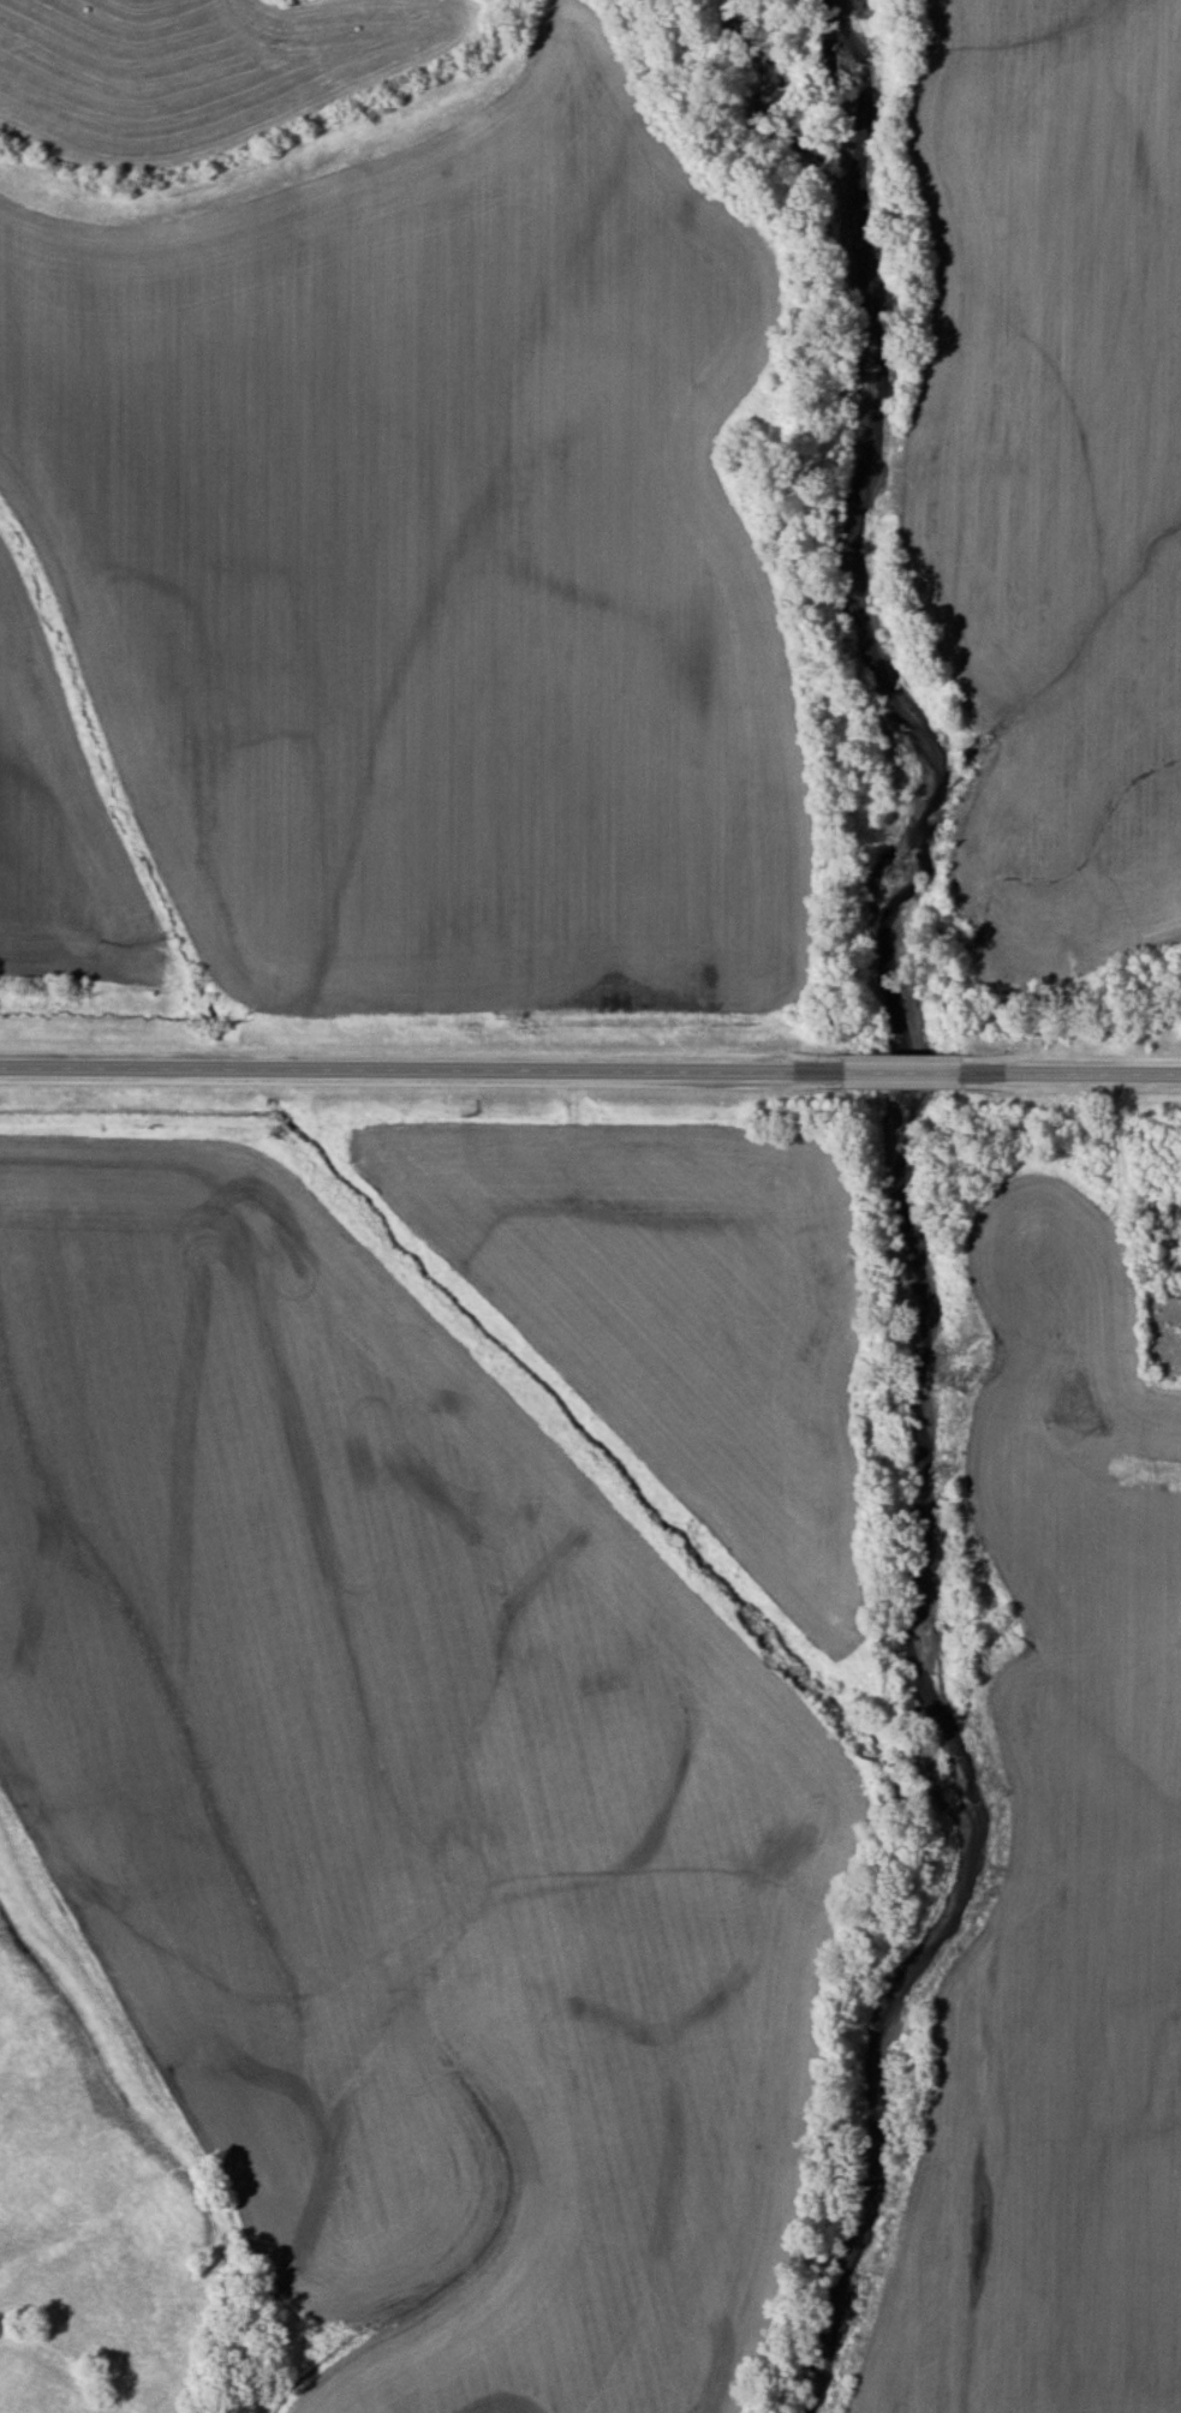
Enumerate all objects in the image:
road: (398, 1068)
road: (895, 1073)
road: (1087, 1074)

